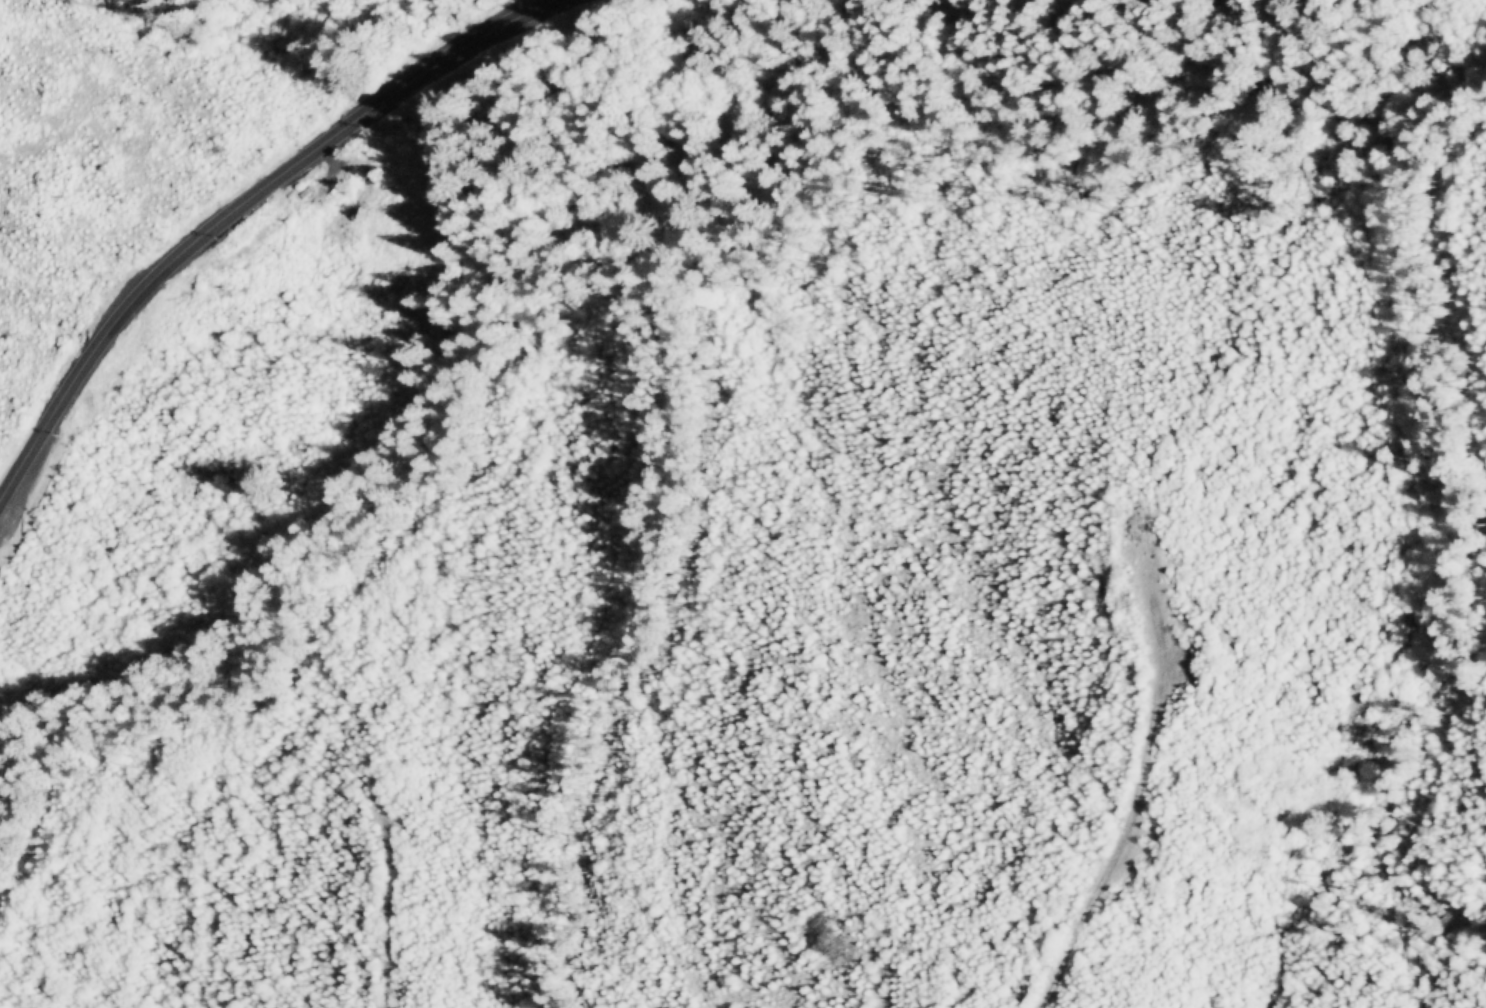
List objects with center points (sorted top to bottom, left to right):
road: (237, 207)
road: (1131, 787)
road: (389, 902)

